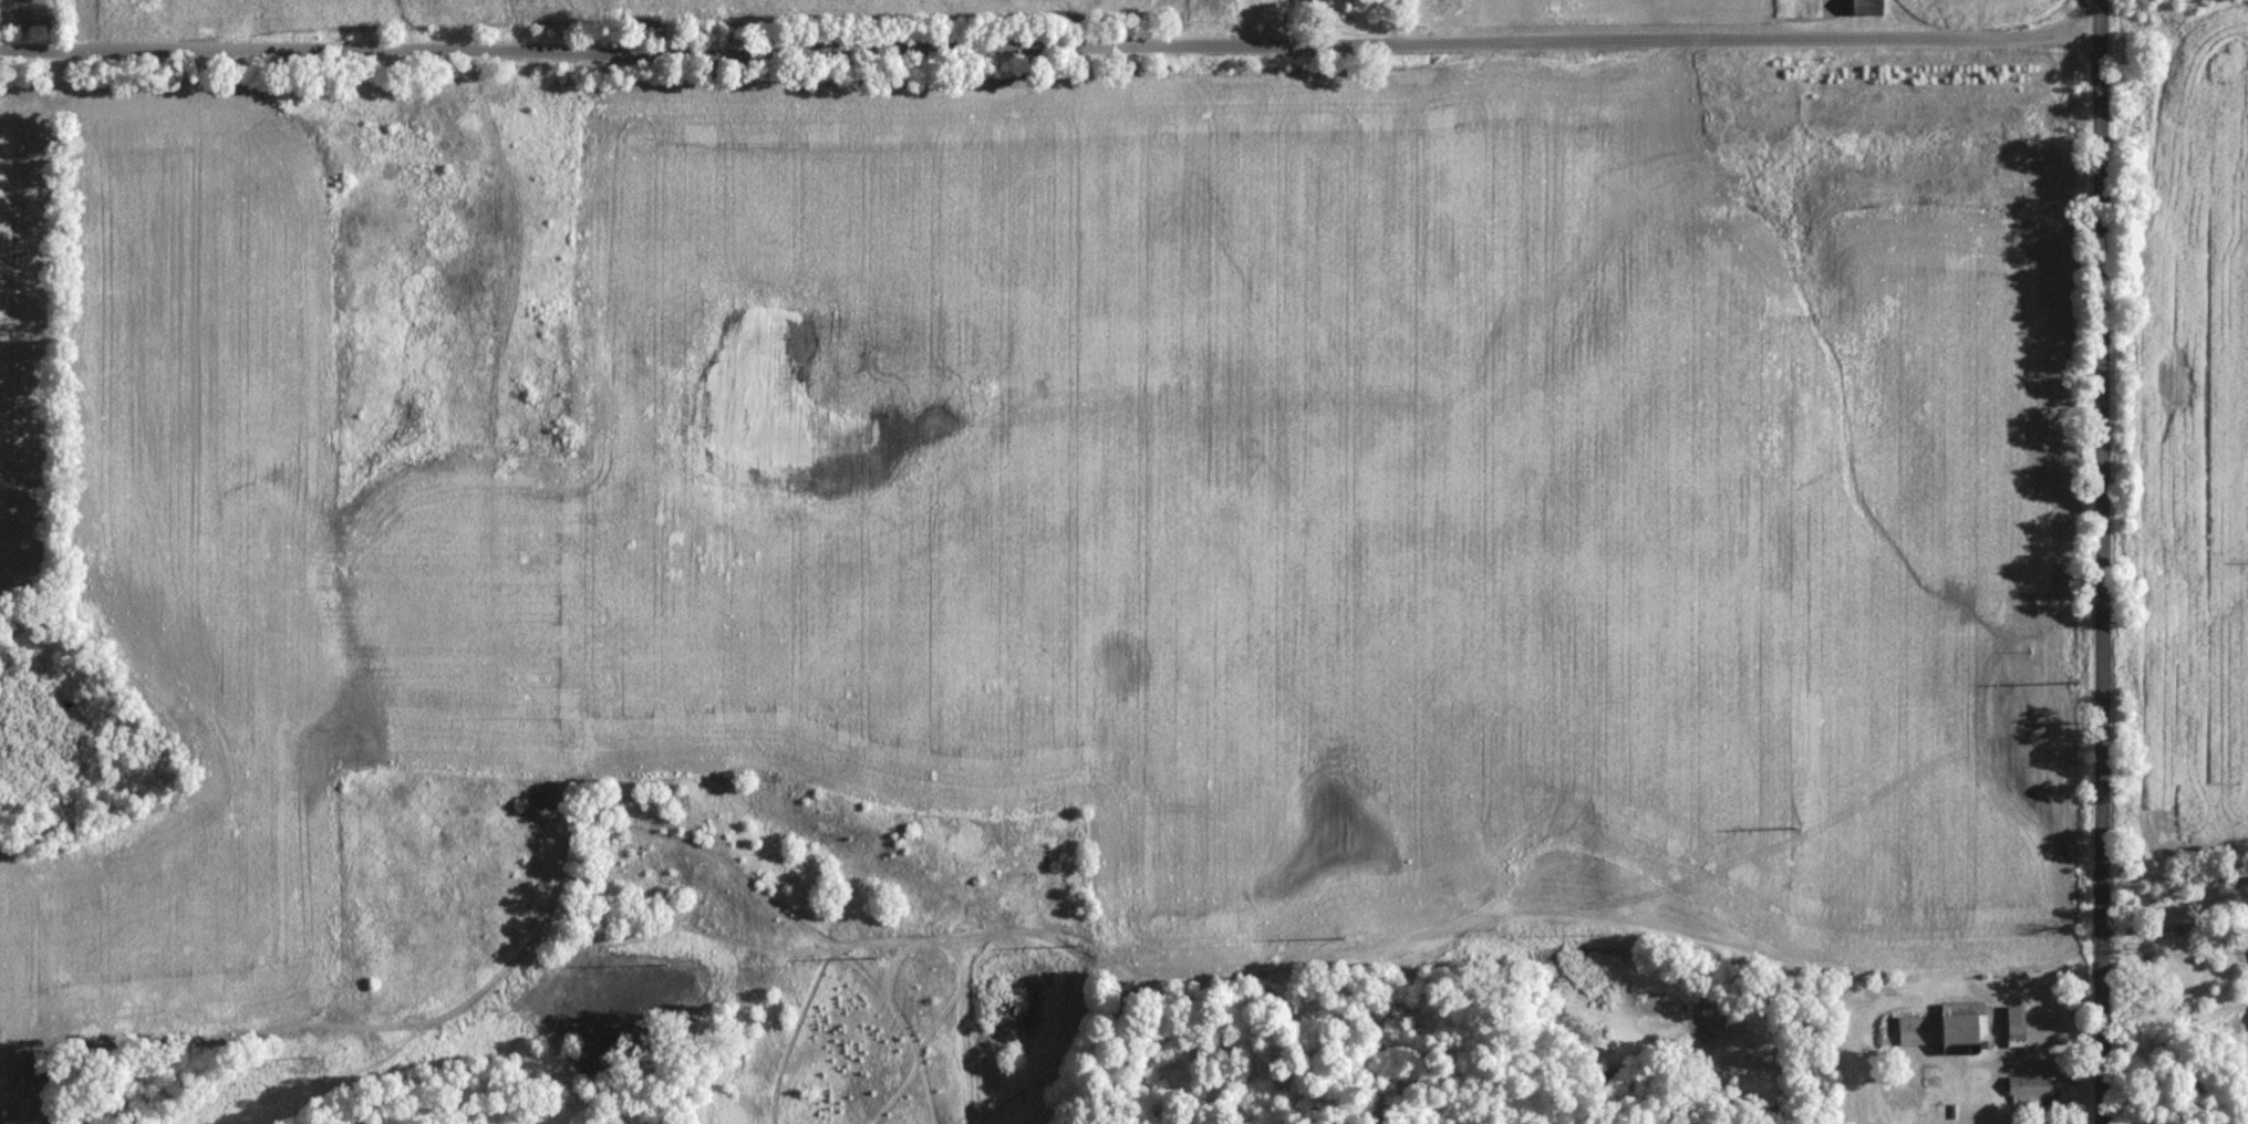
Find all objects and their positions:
road: (1048, 42)
road: (2099, 561)
power tower: (2132, 646)
power tower: (1805, 819)
road: (2174, 925)
power tower: (1596, 932)
power tower: (1332, 937)
power tower: (1081, 941)
power tower: (659, 962)
building: (2032, 1030)
building: (1946, 1033)
power tower: (309, 1060)
road: (2030, 1061)
building: (2042, 1091)

